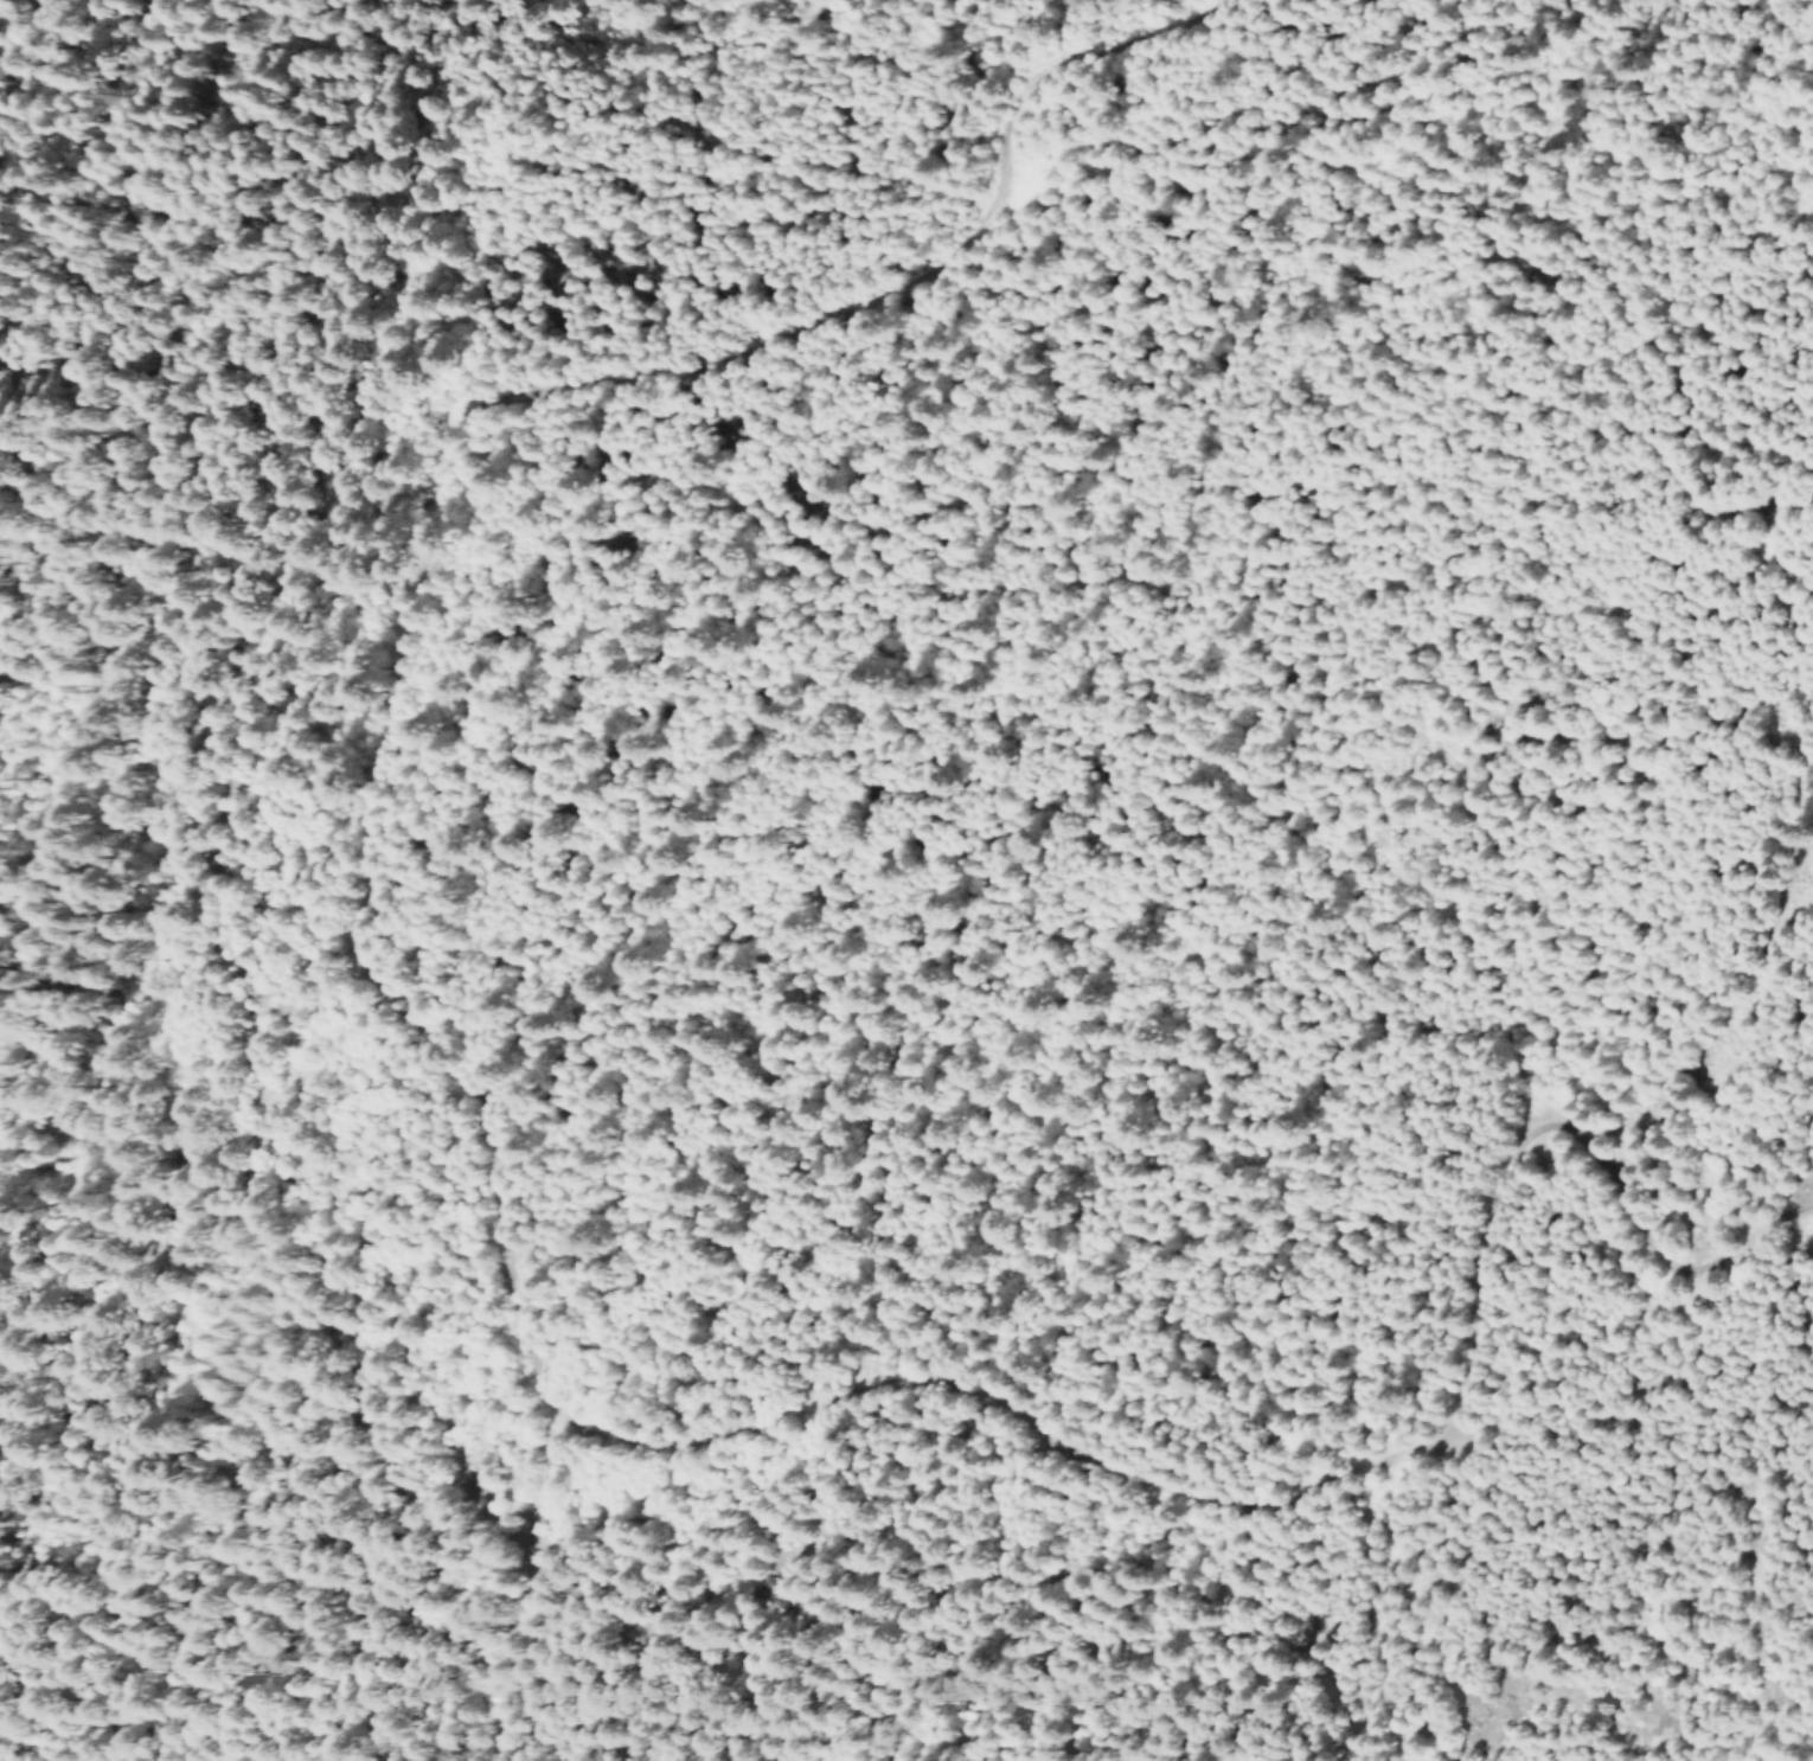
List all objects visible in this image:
road: (508, 1227)
road: (201, 1632)

